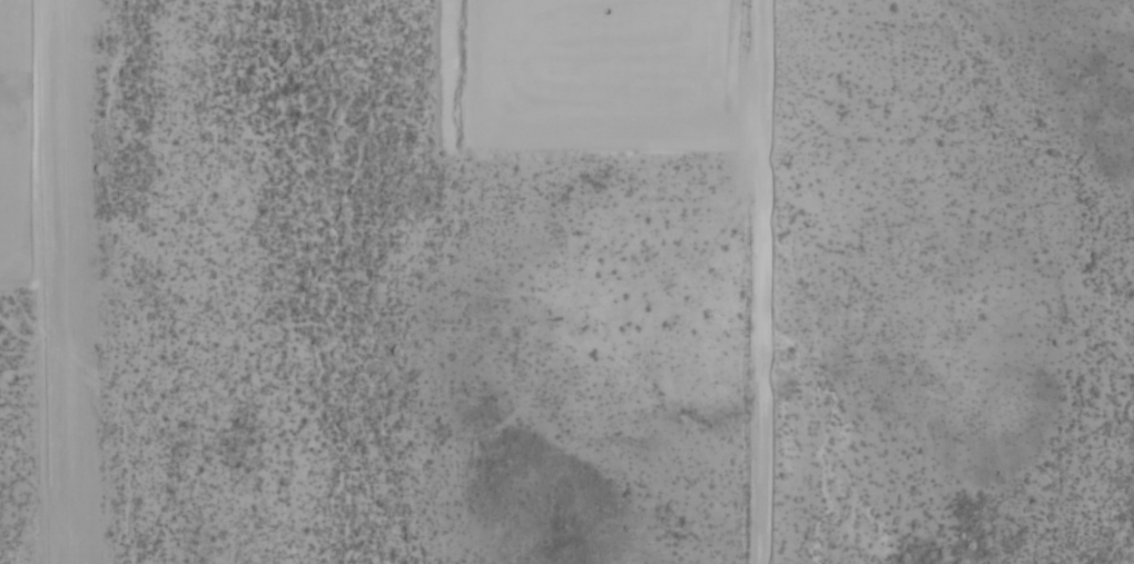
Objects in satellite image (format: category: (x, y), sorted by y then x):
petroleum well: (602, 8)
road: (755, 281)

